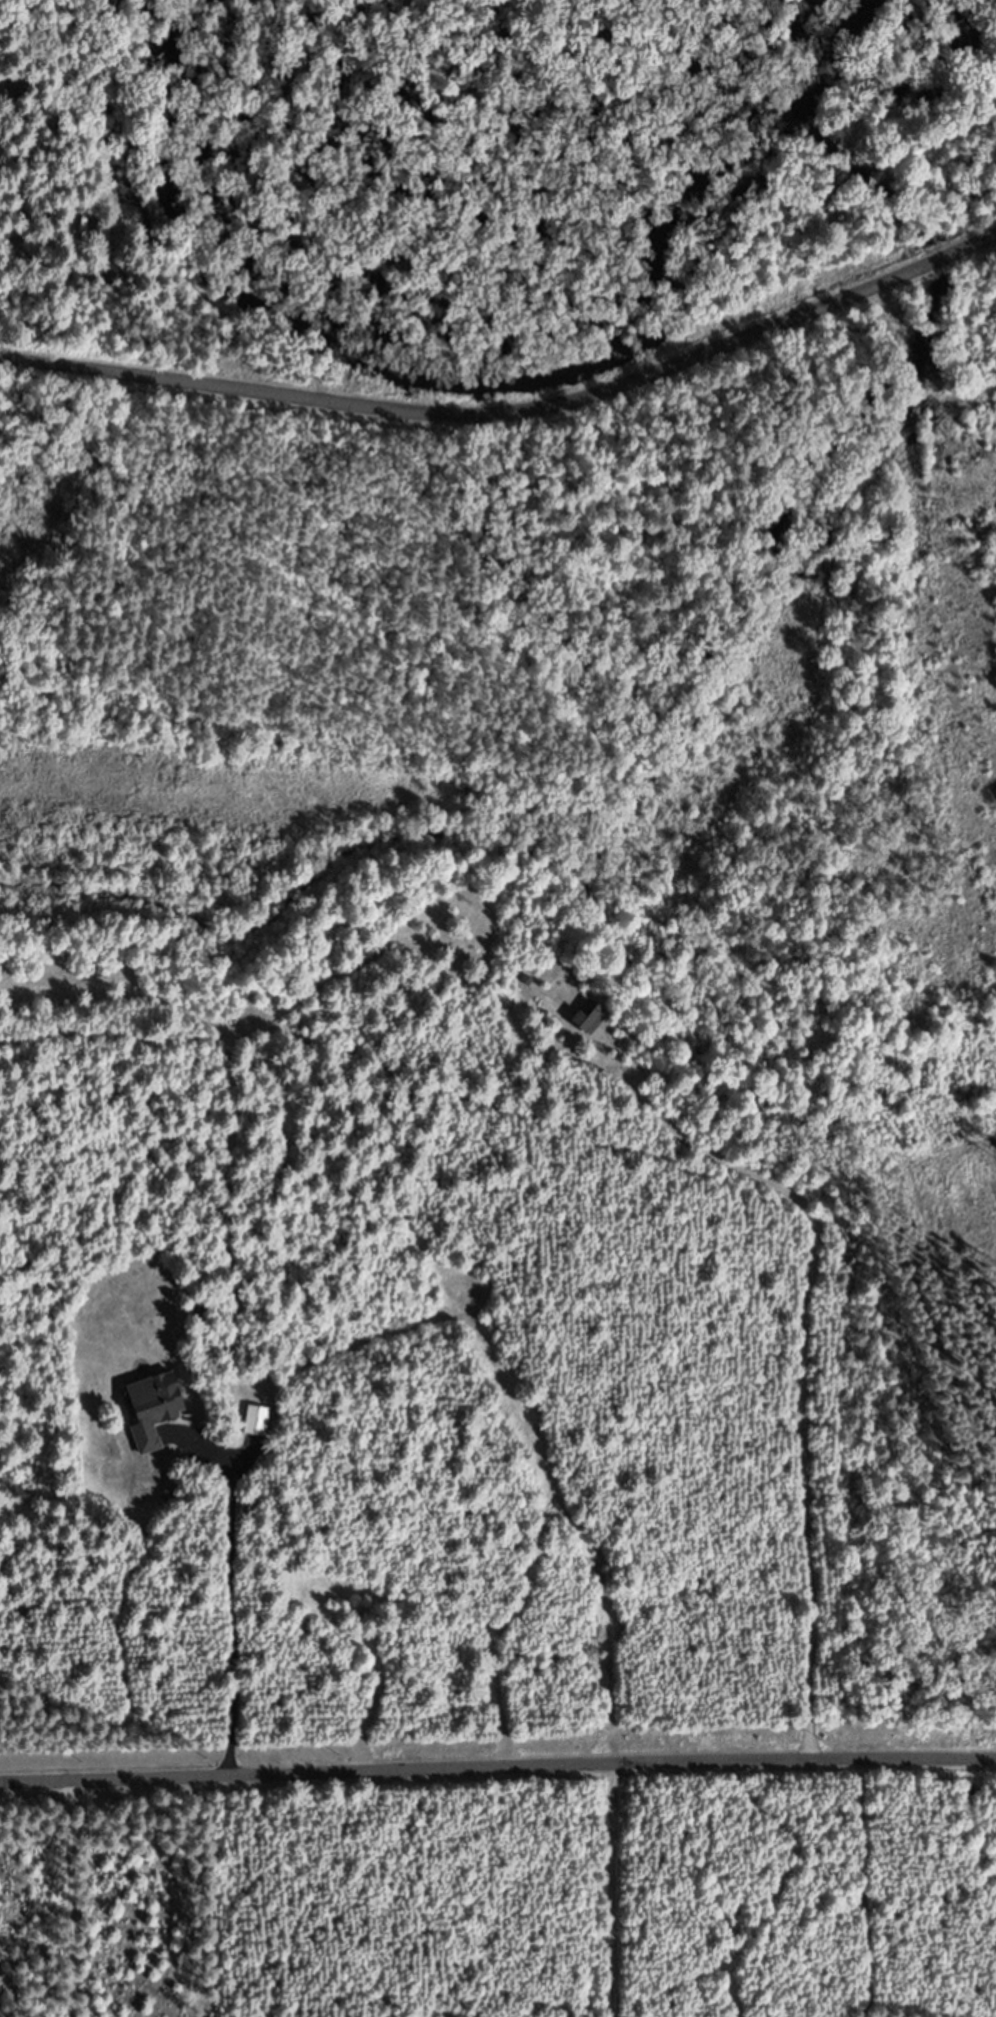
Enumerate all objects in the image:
road: (512, 413)
building: (593, 1023)
building: (158, 1415)
building: (260, 1427)
road: (497, 1768)

